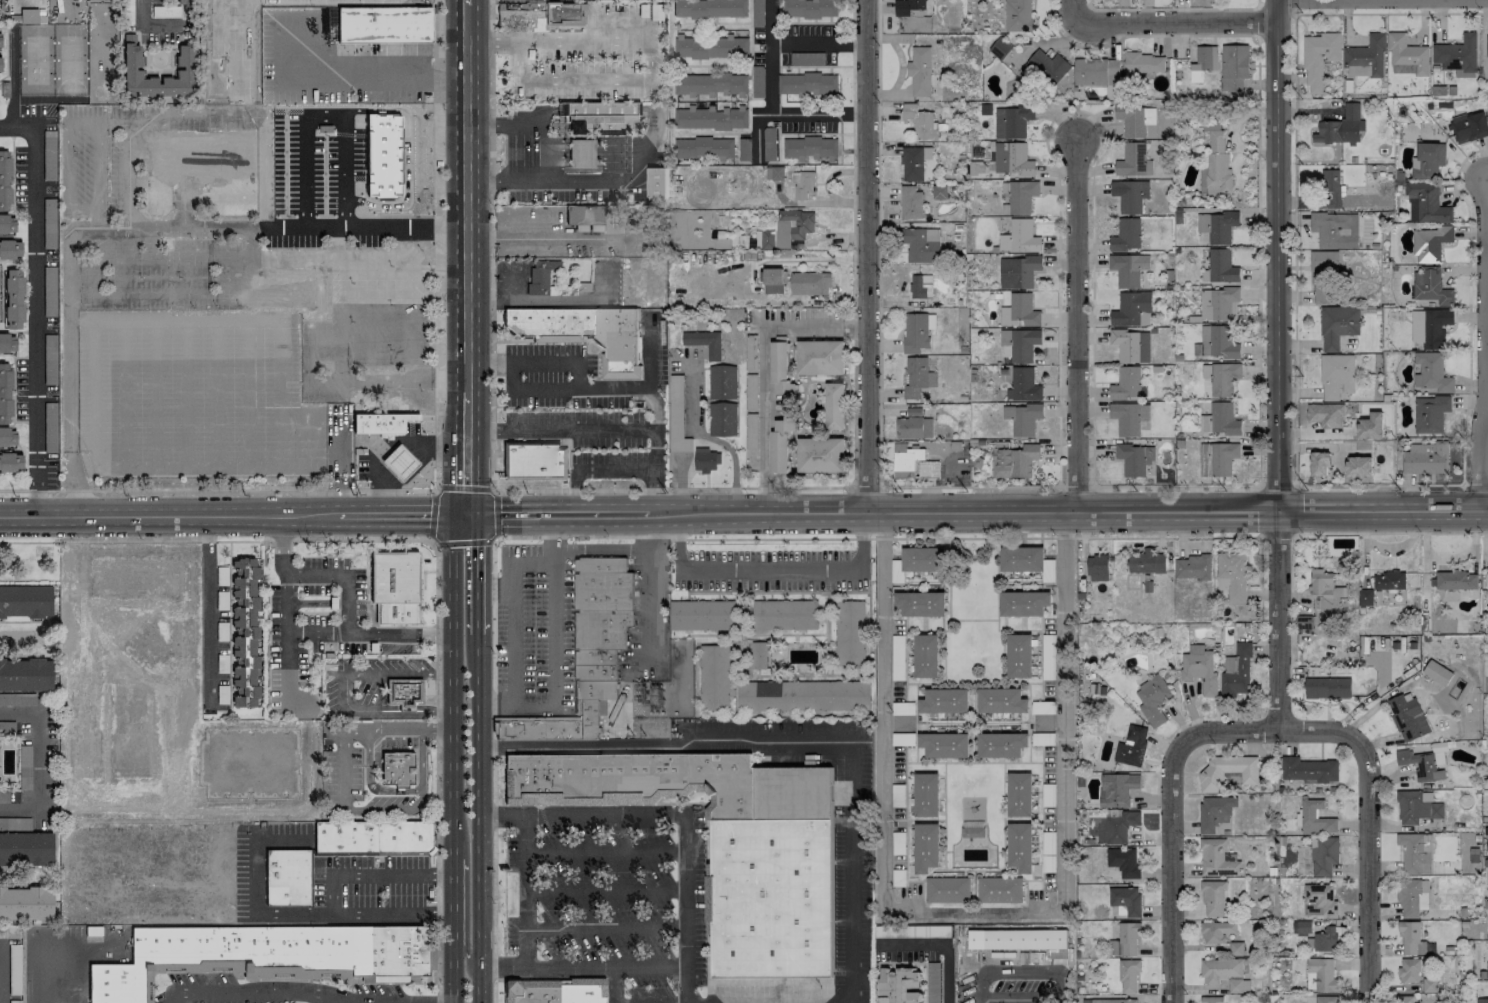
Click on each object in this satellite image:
building: (185, 2)
road: (466, 2)
road: (1256, 2)
road: (1294, 6)
building: (710, 8)
building: (809, 8)
road: (1170, 9)
road: (1391, 12)
building: (1018, 15)
road: (1076, 15)
building: (541, 17)
road: (1257, 21)
road: (1187, 22)
road: (145, 23)
building: (383, 24)
road: (530, 33)
road: (1136, 35)
building: (0, 39)
road: (816, 40)
building: (1487, 46)
building: (711, 47)
road: (240, 49)
building: (1001, 49)
building: (1457, 53)
building: (185, 56)
building: (1407, 56)
building: (1365, 57)
building: (1319, 58)
building: (1203, 62)
building: (0, 64)
building: (1142, 64)
building: (1048, 66)
building: (1233, 67)
building: (920, 71)
building: (1097, 72)
road: (350, 73)
road: (625, 82)
building: (710, 84)
building: (808, 84)
road: (768, 104)
road: (321, 112)
building: (598, 114)
building: (710, 118)
road: (504, 119)
building: (1135, 119)
building: (1012, 121)
building: (921, 122)
building: (1211, 126)
building: (1341, 127)
building: (1469, 127)
road: (654, 128)
road: (543, 146)
building: (703, 147)
building: (809, 147)
building: (581, 153)
building: (383, 155)
road: (407, 156)
building: (1133, 160)
building: (1427, 160)
building: (1003, 162)
building: (917, 163)
building: (1215, 167)
road: (341, 169)
road: (302, 170)
building: (5, 180)
road: (504, 180)
building: (1331, 188)
building: (939, 192)
building: (1129, 195)
building: (1021, 196)
road: (466, 198)
building: (911, 204)
building: (1425, 204)
building: (584, 215)
building: (7, 224)
building: (1217, 226)
road: (362, 227)
building: (49, 229)
building: (787, 229)
building: (1333, 229)
building: (1126, 235)
building: (1019, 237)
building: (1430, 242)
road: (438, 243)
building: (920, 244)
road: (1294, 248)
building: (10, 249)
road: (867, 256)
road: (1275, 257)
road: (1257, 262)
building: (991, 265)
building: (1220, 267)
building: (1128, 268)
building: (1018, 271)
building: (1323, 277)
building: (774, 280)
building: (809, 283)
building: (921, 286)
building: (1430, 287)
building: (13, 299)
building: (1218, 303)
road: (37, 308)
building: (1132, 309)
building: (1019, 311)
road: (854, 324)
building: (1337, 325)
road: (1075, 326)
building: (1430, 327)
building: (585, 331)
building: (917, 331)
road: (548, 339)
road: (1058, 339)
building: (704, 342)
building: (1215, 342)
building: (7, 343)
building: (1019, 344)
building: (1131, 345)
road: (1482, 346)
road: (648, 356)
building: (820, 357)
building: (780, 369)
building: (1431, 372)
building: (1337, 376)
building: (918, 377)
building: (1221, 377)
road: (762, 380)
building: (1127, 383)
building: (1023, 385)
road: (564, 388)
road: (1468, 390)
building: (5, 394)
building: (834, 406)
building: (1430, 413)
building: (1326, 415)
building: (1128, 417)
building: (722, 419)
building: (1022, 419)
building: (1219, 419)
building: (379, 421)
building: (914, 425)
building: (1371, 426)
road: (602, 431)
building: (8, 437)
road: (708, 439)
road: (383, 441)
building: (780, 444)
road: (1314, 446)
road: (465, 454)
building: (820, 455)
building: (1134, 458)
building: (1425, 458)
building: (1217, 459)
road: (496, 460)
building: (533, 460)
building: (705, 460)
building: (9, 461)
building: (1014, 461)
building: (400, 462)
building: (912, 463)
building: (1319, 464)
road: (337, 466)
building: (1359, 466)
road: (614, 469)
road: (464, 486)
road: (1276, 486)
road: (670, 488)
road: (46, 489)
road: (264, 489)
road: (573, 491)
road: (963, 512)
road: (1383, 513)
road: (434, 514)
road: (556, 514)
road: (400, 515)
road: (493, 515)
road: (168, 517)
road: (653, 531)
road: (542, 537)
road: (976, 538)
road: (462, 543)
road: (652, 558)
building: (1021, 558)
building: (922, 559)
building: (1146, 562)
building: (600, 564)
building: (1097, 567)
building: (1192, 567)
road: (769, 570)
road: (477, 572)
building: (1487, 573)
building: (1232, 576)
building: (393, 577)
building: (1456, 580)
building: (1389, 581)
building: (1324, 590)
building: (602, 591)
building: (1365, 597)
building: (25, 600)
building: (921, 603)
building: (1024, 603)
road: (207, 608)
road: (286, 608)
building: (397, 613)
building: (784, 614)
building: (701, 615)
road: (1278, 622)
building: (601, 628)
road: (346, 630)
road: (316, 633)
building: (849, 633)
building: (759, 655)
building: (926, 655)
building: (595, 656)
building: (1019, 656)
building: (1199, 669)
building: (596, 672)
building: (1236, 672)
building: (1437, 672)
building: (25, 674)
road: (574, 676)
building: (714, 677)
road: (453, 686)
building: (1327, 687)
building: (597, 689)
road: (343, 691)
building: (404, 692)
building: (783, 696)
building: (1001, 700)
building: (1152, 700)
building: (944, 701)
road: (536, 706)
building: (1407, 716)
building: (589, 717)
road: (886, 725)
road: (397, 729)
building: (537, 729)
road: (1064, 731)
road: (800, 742)
building: (1001, 744)
building: (944, 745)
building: (1131, 746)
road: (38, 762)
building: (1420, 765)
building: (397, 769)
road: (419, 769)
road: (342, 770)
building: (1308, 770)
road: (493, 773)
building: (1211, 778)
road: (368, 780)
building: (670, 783)
building: (1117, 789)
building: (926, 794)
building: (1019, 794)
building: (1416, 808)
road: (377, 810)
building: (1214, 812)
road: (675, 813)
road: (479, 817)
building: (1314, 818)
road: (1171, 820)
building: (1120, 826)
road: (1368, 830)
building: (372, 836)
road: (708, 845)
building: (26, 847)
building: (926, 847)
building: (1020, 847)
building: (1415, 853)
building: (1323, 855)
building: (1217, 858)
building: (1124, 861)
road: (372, 875)
building: (287, 877)
road: (526, 890)
building: (947, 890)
building: (999, 891)
building: (770, 897)
building: (1213, 898)
building: (1317, 898)
building: (1412, 898)
building: (1125, 901)
road: (466, 902)
building: (26, 903)
road: (453, 903)
road: (972, 910)
road: (288, 912)
building: (1303, 926)
building: (1222, 935)
building: (1127, 938)
building: (1323, 939)
building: (1411, 939)
building: (1020, 940)
road: (940, 945)
building: (235, 954)
building: (397, 954)
road: (33, 966)
road: (565, 966)
building: (1220, 969)
building: (1409, 970)
building: (1487, 970)
road: (1057, 972)
road: (273, 975)
road: (454, 975)
building: (1320, 975)
building: (1128, 976)
road: (546, 978)
parking lot: (1018, 983)
road: (710, 985)
building: (898, 985)
building: (1234, 985)
building: (1429, 985)
road: (438, 991)
building: (555, 991)
road: (250, 994)
road: (1156, 994)
road: (337, 999)
building: (1211, 999)
building: (1325, 999)
building: (1405, 999)
building: (1482, 1000)
road: (981, 1001)
building: (1114, 1001)

